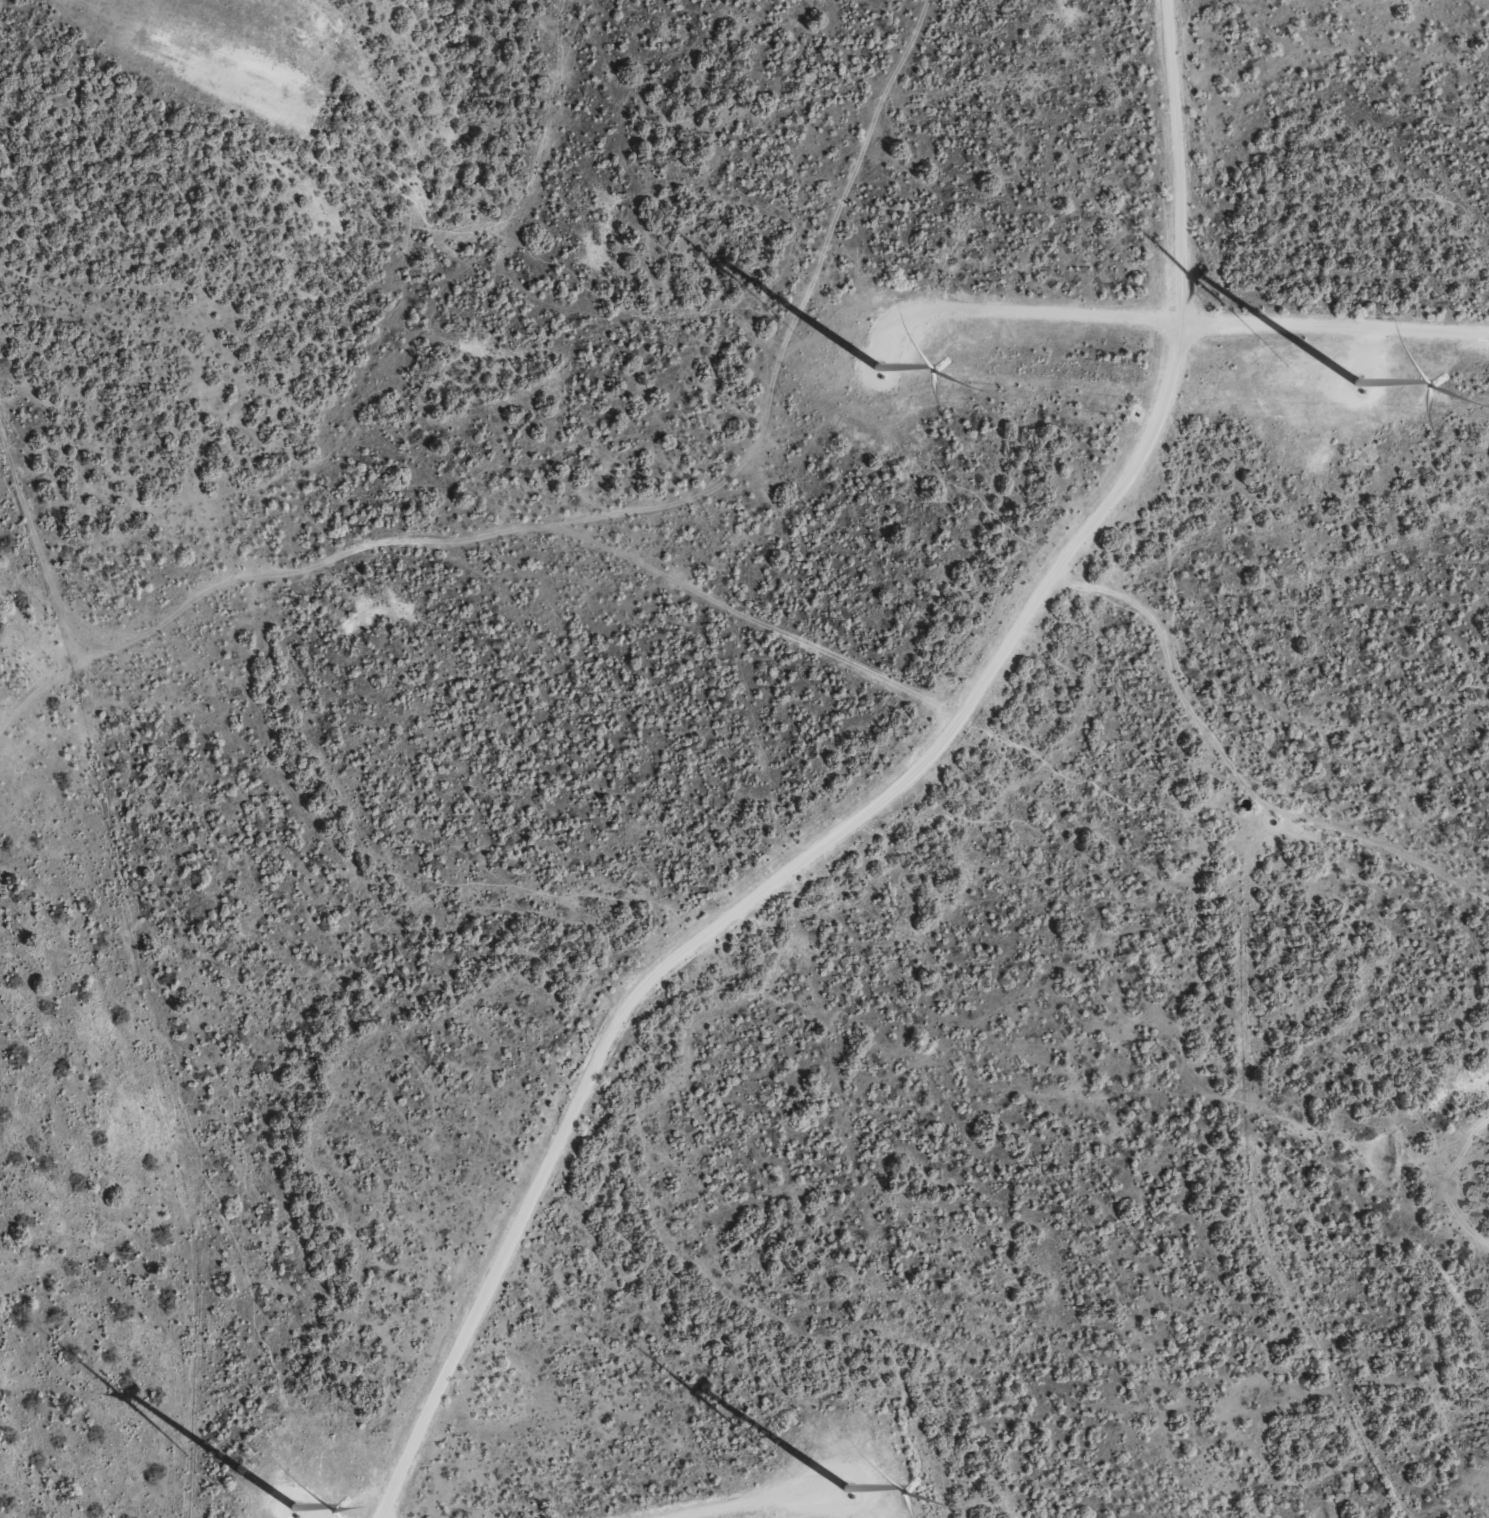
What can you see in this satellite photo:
wind turbine: (881, 346)
wind turbine: (1363, 394)
road: (601, 530)
wind turbine: (858, 1488)
wind turbine: (281, 1493)

